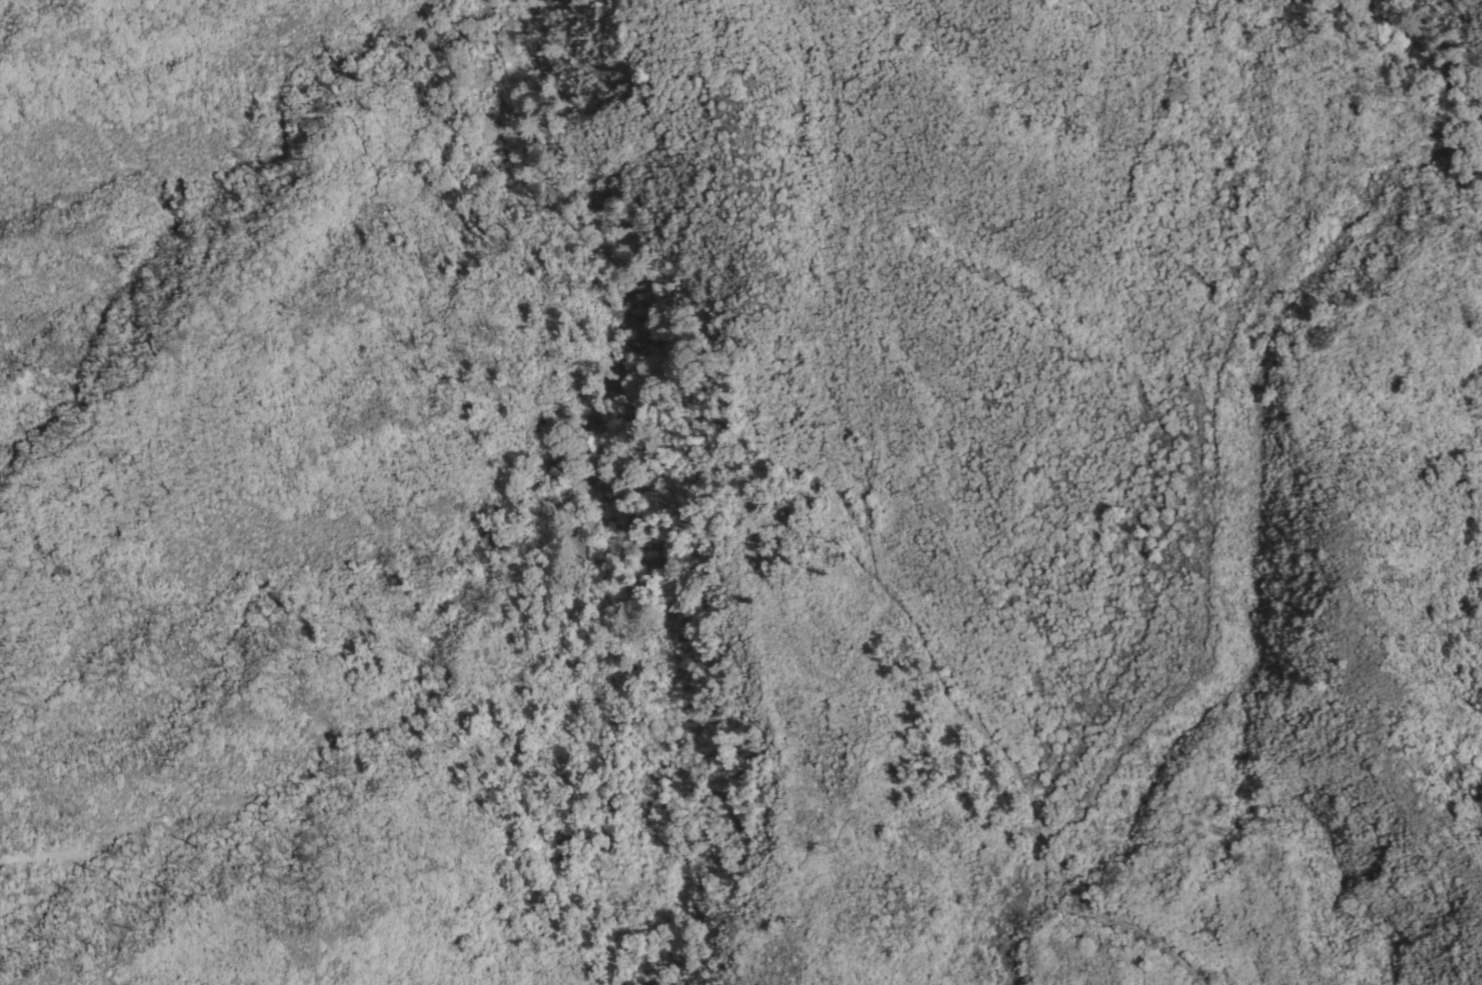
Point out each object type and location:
road: (428, 329)
road: (991, 731)

